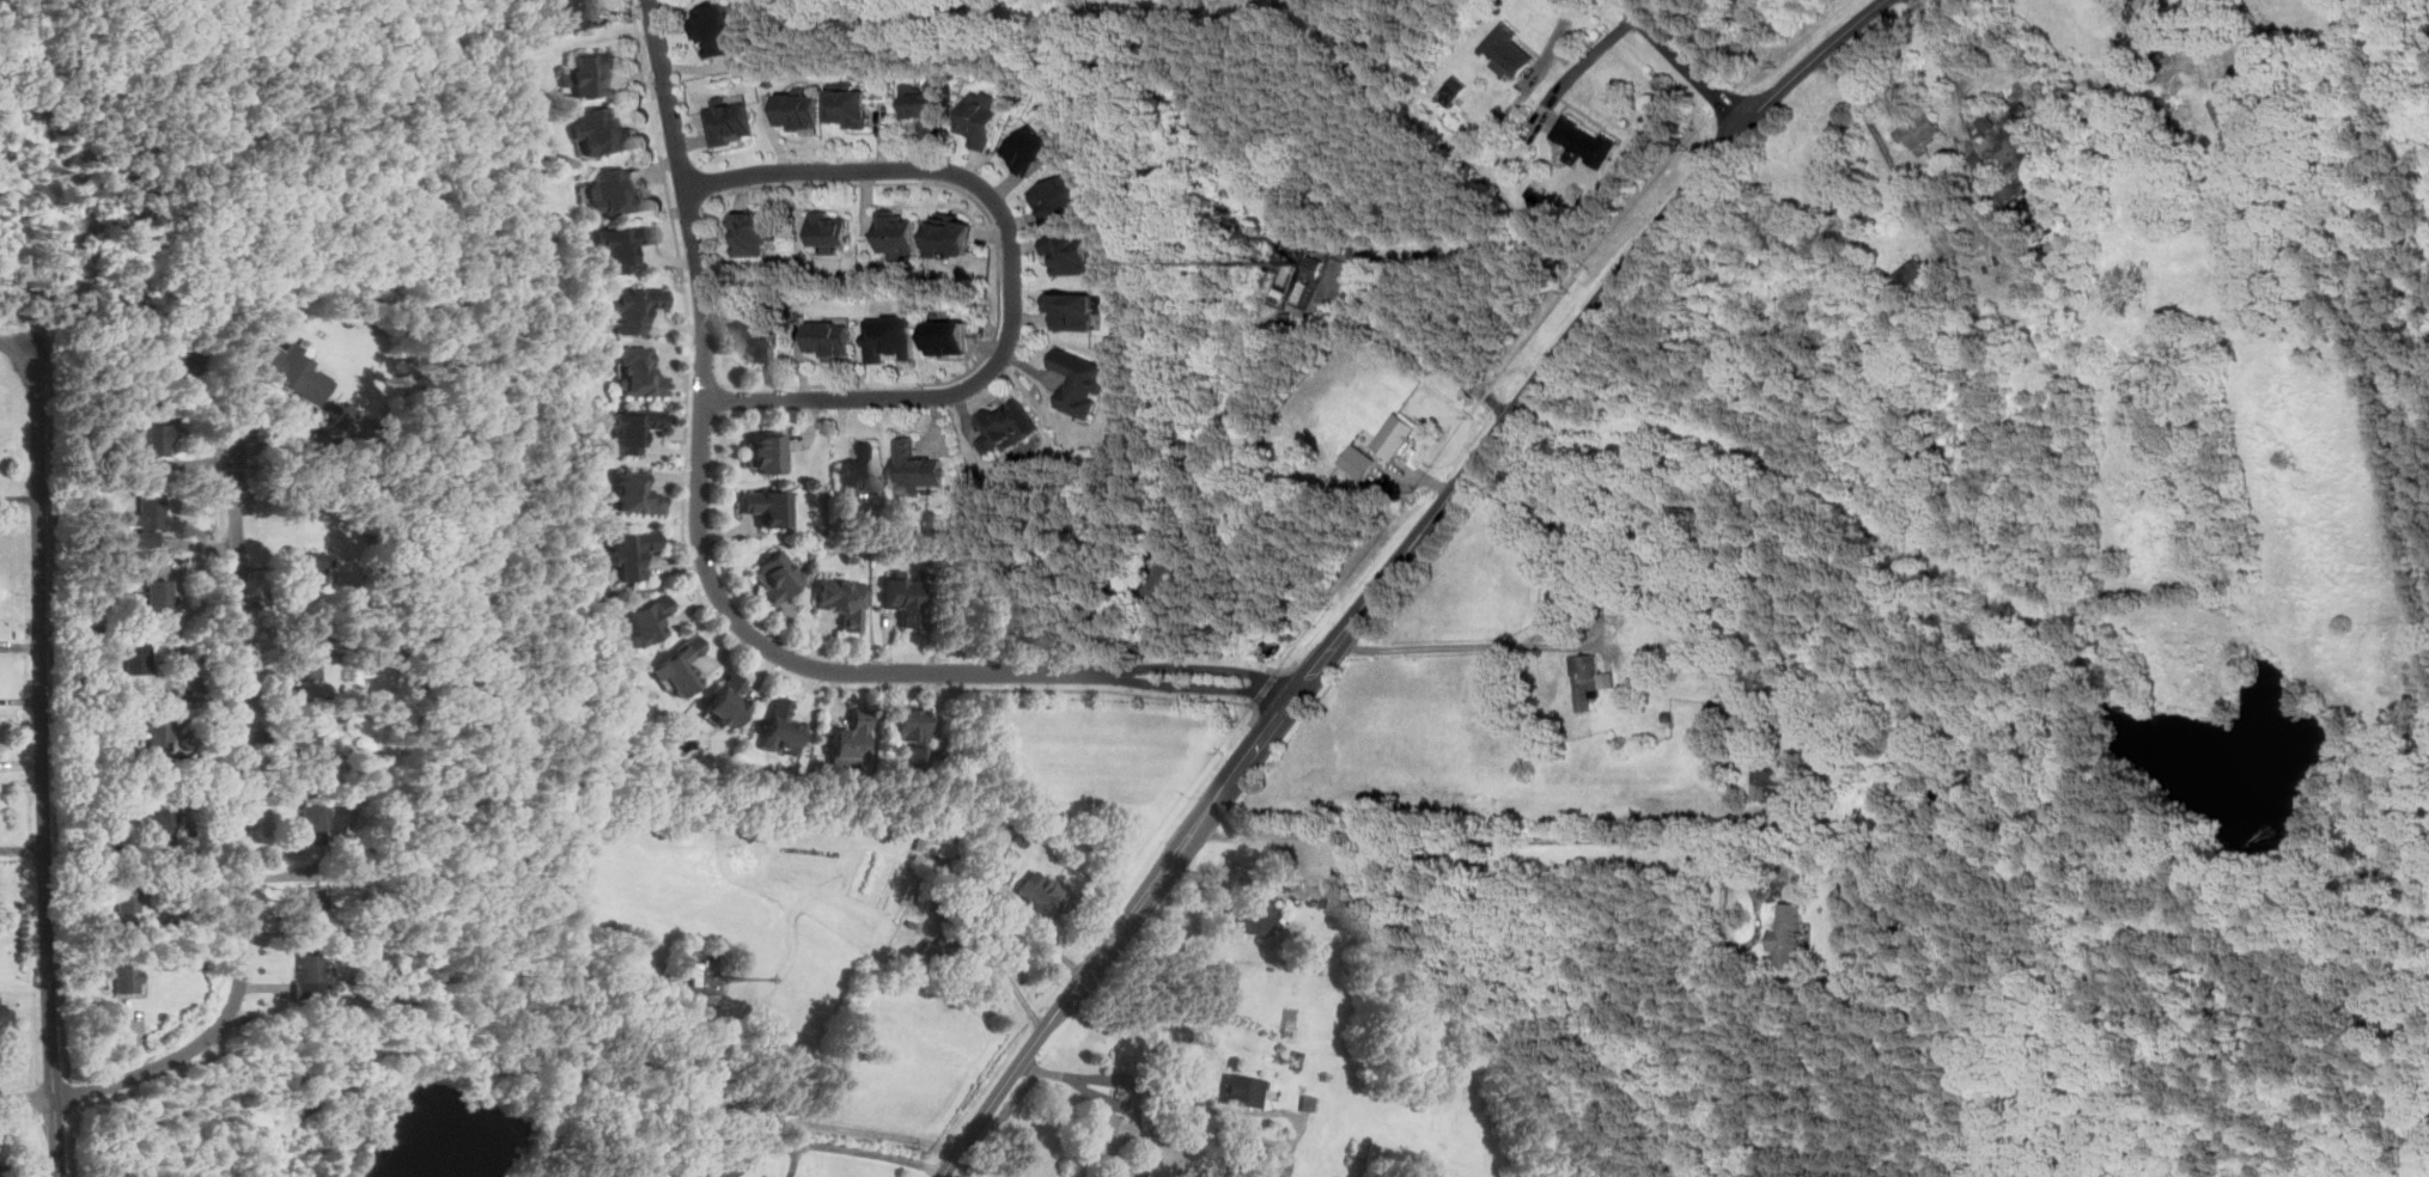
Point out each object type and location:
building: (572, 13)
building: (718, 28)
road: (2172, 43)
building: (1506, 50)
road: (1685, 63)
road: (1578, 65)
building: (590, 72)
road: (1526, 86)
building: (1453, 89)
building: (848, 103)
building: (2232, 103)
building: (925, 104)
building: (802, 109)
building: (981, 118)
building: (731, 121)
building: (1920, 129)
building: (601, 132)
building: (1583, 141)
building: (1031, 151)
building: (2019, 177)
building: (614, 193)
building: (1060, 195)
road: (690, 207)
road: (677, 209)
road: (160, 219)
building: (753, 231)
building: (830, 231)
building: (897, 233)
building: (950, 233)
building: (622, 245)
building: (1073, 254)
building: (1315, 264)
building: (1289, 272)
road: (1015, 273)
building: (1916, 273)
road: (1000, 287)
road: (1295, 289)
building: (1304, 291)
building: (1280, 294)
building: (634, 307)
building: (1072, 310)
building: (1289, 317)
street lamp: (16, 322)
road: (2, 331)
building: (949, 336)
building: (891, 337)
building: (833, 339)
building: (761, 340)
road: (690, 341)
road: (704, 343)
road: (1420, 346)
road: (1521, 346)
road: (24, 347)
building: (182, 362)
building: (638, 373)
building: (298, 378)
building: (1080, 382)
building: (1009, 423)
building: (629, 428)
building: (1394, 435)
building: (154, 440)
building: (763, 452)
building: (1358, 461)
building: (915, 468)
building: (859, 474)
building: (634, 494)
road: (700, 500)
building: (767, 507)
building: (152, 510)
building: (631, 553)
building: (1587, 556)
building: (309, 566)
road: (1393, 569)
building: (1173, 574)
building: (777, 575)
street lamp: (18, 592)
building: (159, 596)
building: (379, 597)
building: (902, 597)
road: (701, 599)
building: (841, 600)
building: (645, 620)
road: (1534, 644)
building: (136, 657)
building: (678, 666)
road: (1203, 667)
building: (308, 669)
road: (1286, 669)
road: (1279, 671)
building: (1590, 677)
road: (1195, 684)
road: (1266, 688)
building: (1729, 693)
building: (726, 701)
building: (1667, 714)
building: (339, 715)
street lamp: (18, 722)
building: (783, 726)
building: (909, 732)
building: (158, 737)
building: (850, 738)
building: (308, 745)
road: (42, 773)
building: (1773, 783)
street lamp: (20, 789)
building: (162, 813)
building: (313, 823)
building: (996, 831)
road: (244, 835)
road: (1552, 837)
building: (937, 844)
road: (22, 848)
building: (127, 889)
building: (1043, 892)
building: (1325, 896)
building: (312, 898)
building: (1259, 917)
building: (1780, 933)
building: (694, 972)
building: (311, 974)
building: (126, 975)
building: (383, 983)
building: (1, 1013)
building: (1296, 1060)
building: (1127, 1063)
building: (1244, 1090)
road: (1107, 1098)
road: (26, 1102)
building: (1308, 1102)
road: (1211, 1104)
street lamp: (38, 1117)
road: (787, 1118)
building: (1113, 1136)
road: (876, 1152)
road: (763, 1154)
road: (793, 1157)
building: (1285, 1163)
building: (1137, 1172)
building: (690, 1176)

